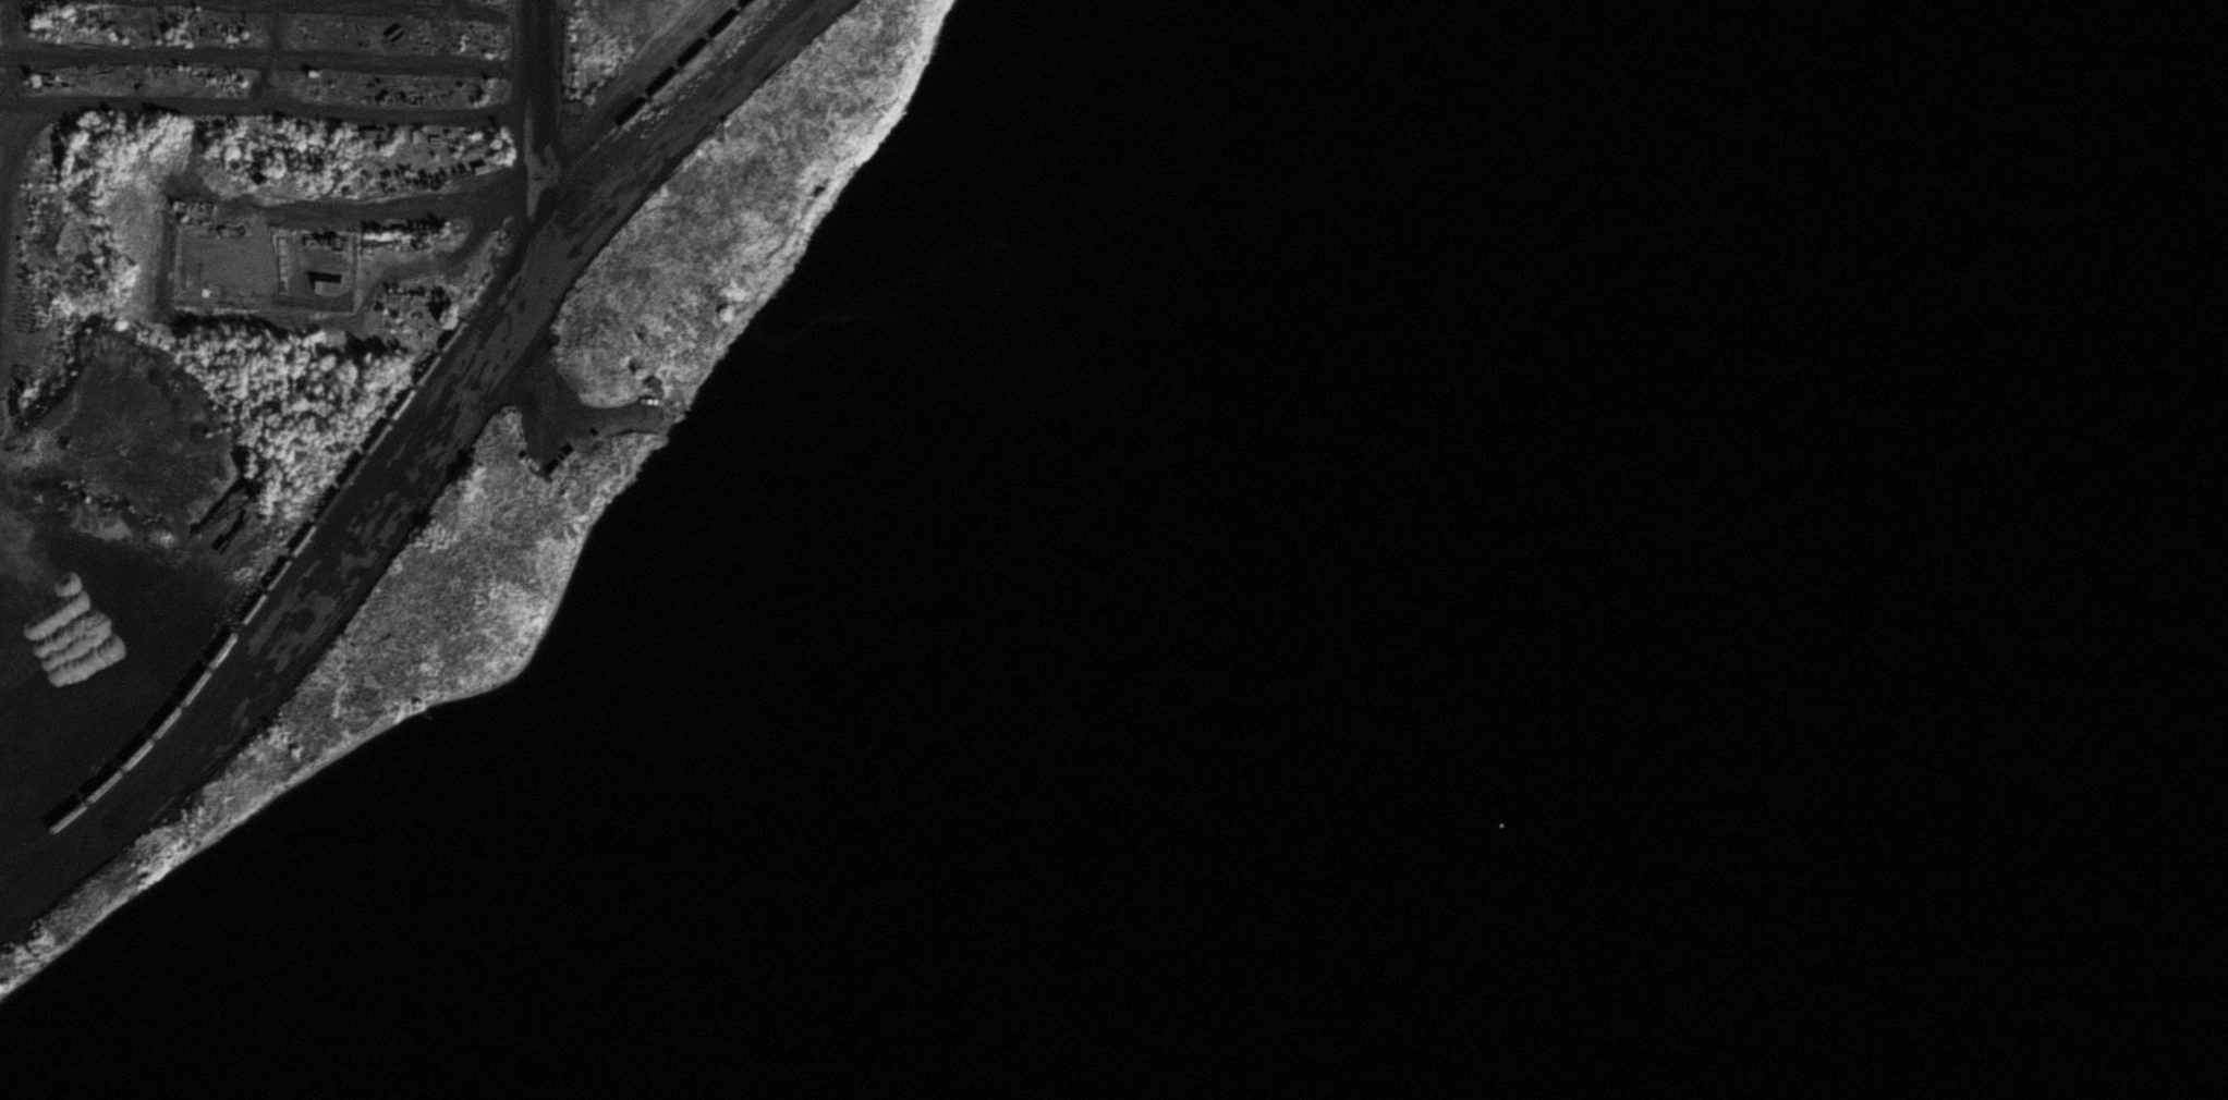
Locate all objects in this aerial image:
railway: (380, 441)

